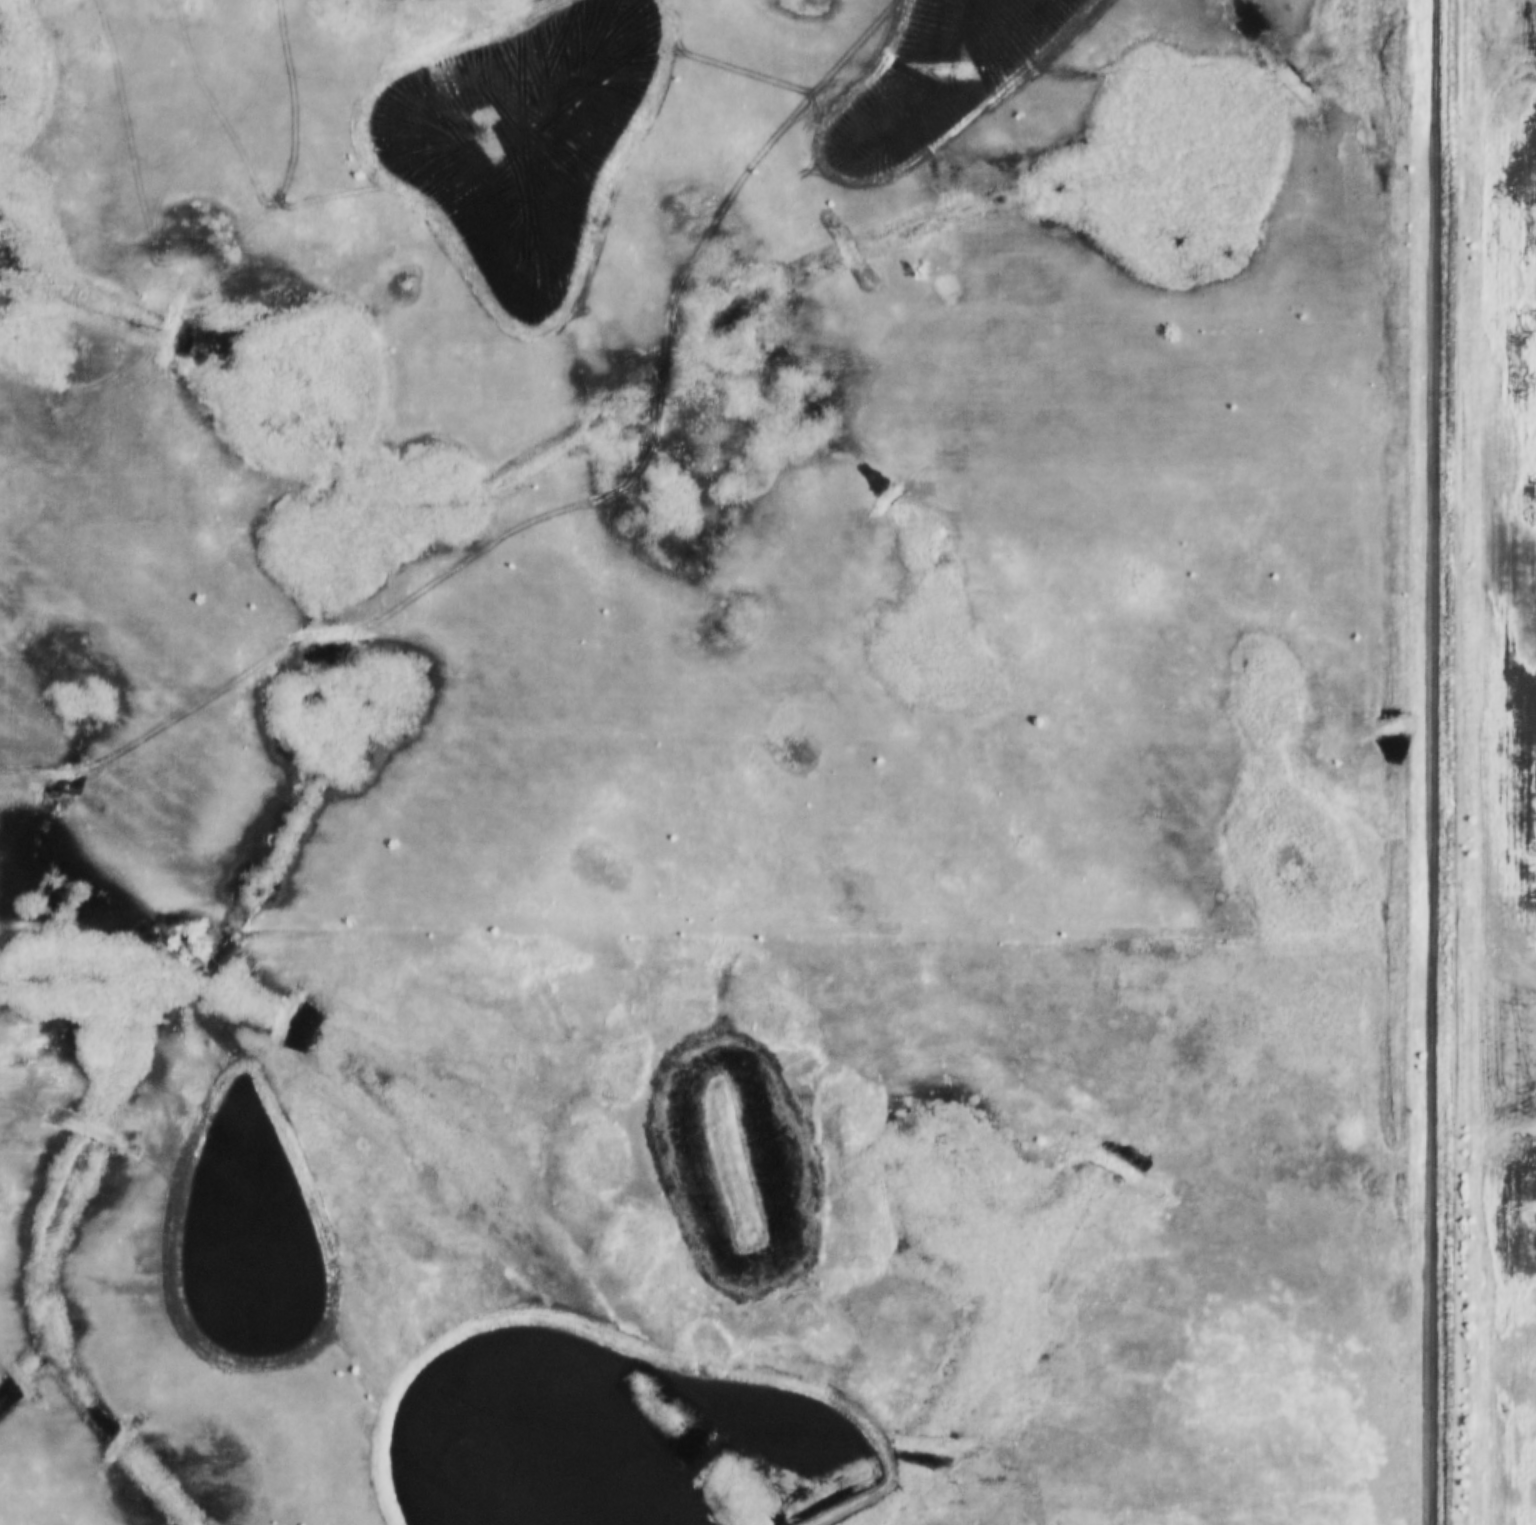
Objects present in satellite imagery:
road: (1450, 762)

